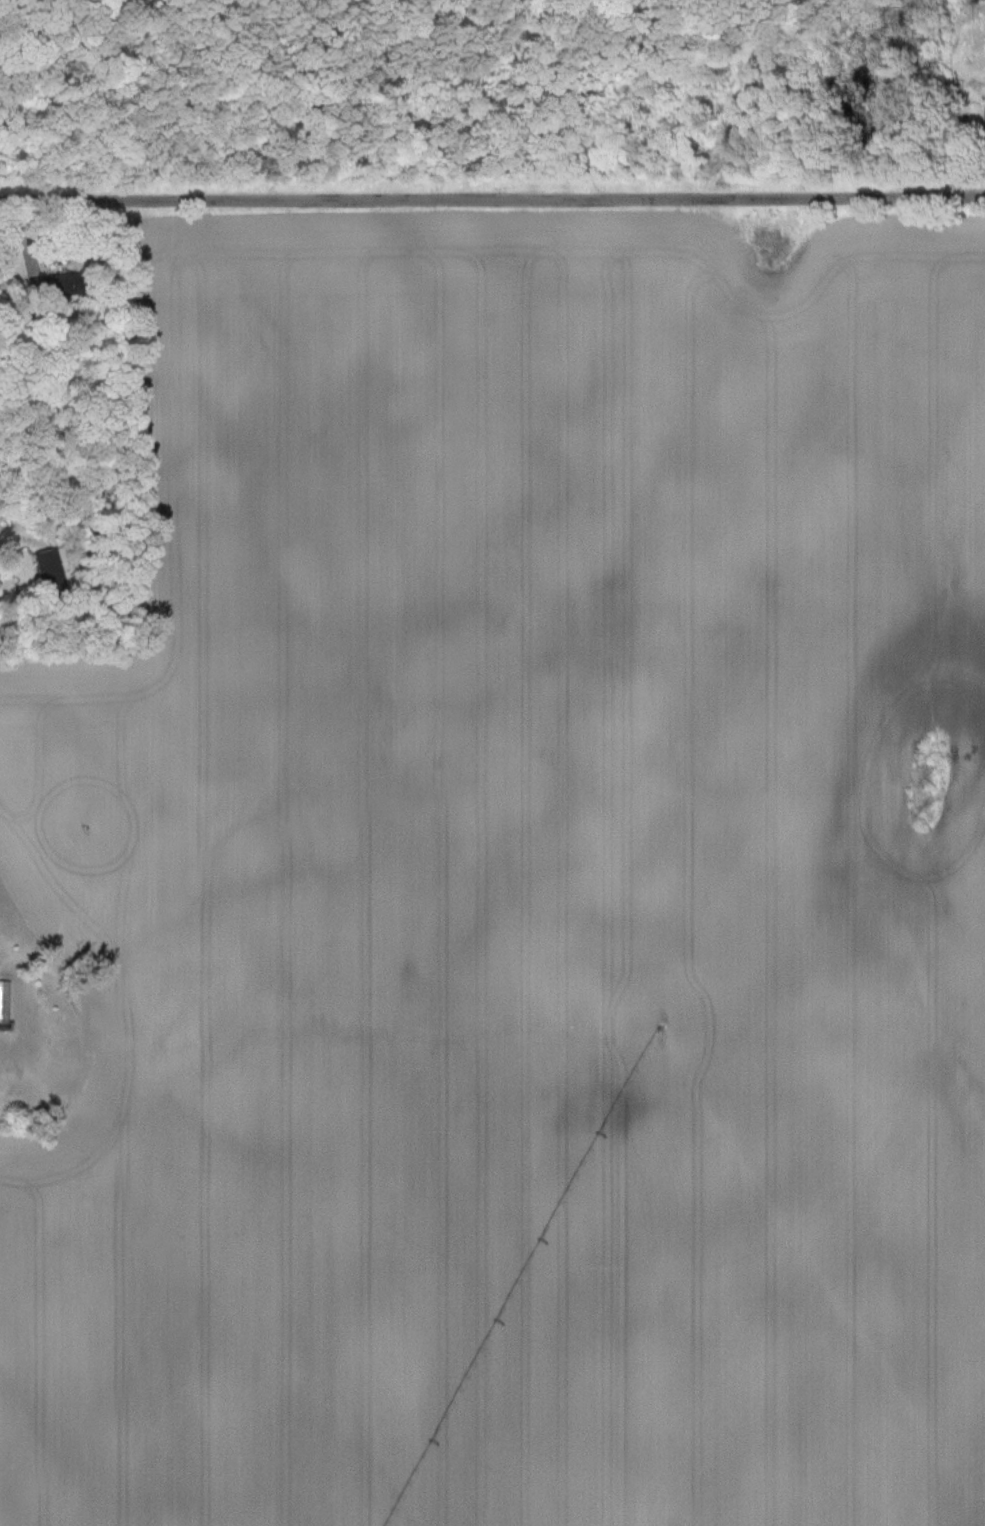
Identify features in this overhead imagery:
road: (492, 201)
building: (51, 285)
building: (46, 567)
road: (15, 609)
building: (5, 1003)

